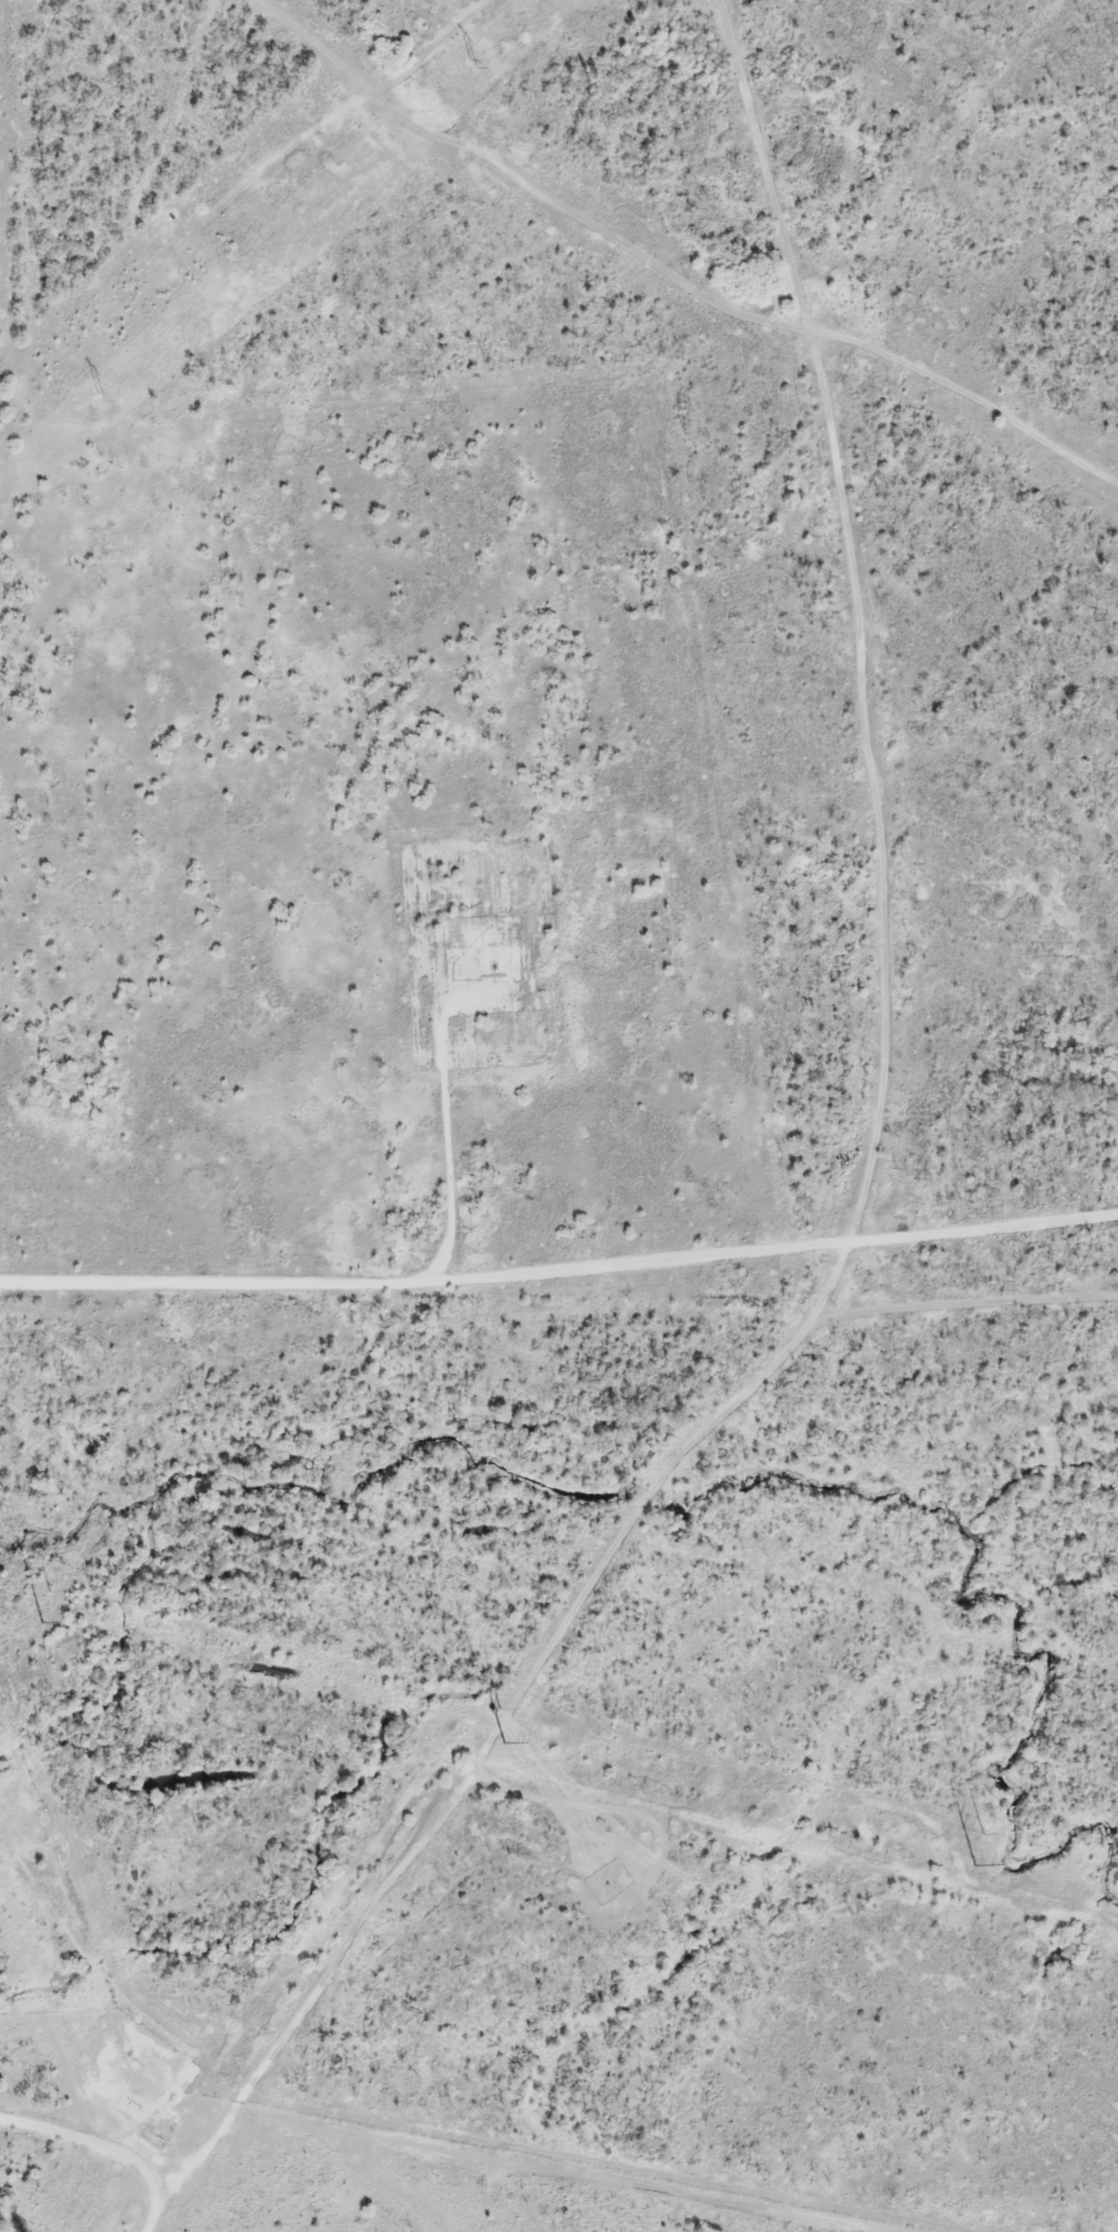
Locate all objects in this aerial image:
power tower: (474, 62)
power tower: (100, 396)
road: (445, 1144)
road: (858, 1207)
road: (560, 1274)
power tower: (53, 1595)
power tower: (39, 1625)
power tower: (490, 1711)
power tower: (502, 1744)
power tower: (984, 1835)
power tower: (974, 1868)
road: (111, 2142)

